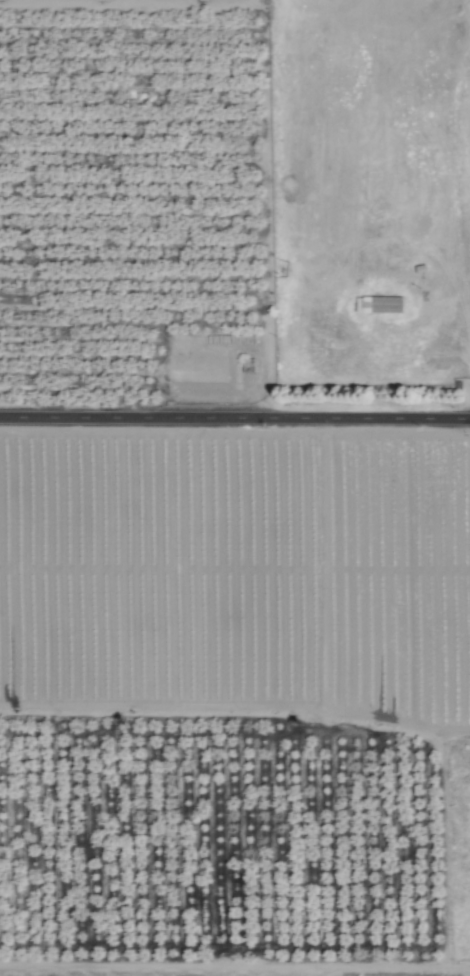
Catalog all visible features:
building: (379, 305)
road: (235, 419)

